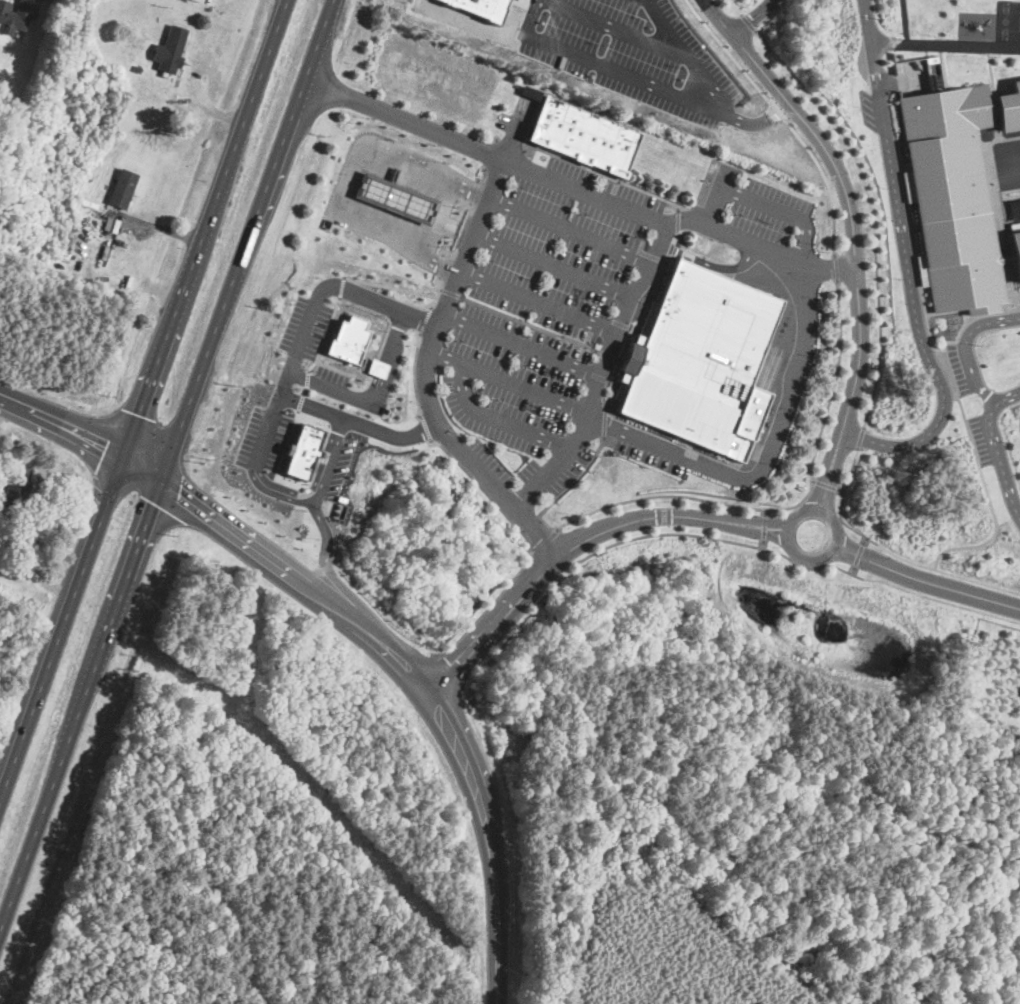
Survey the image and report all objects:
road: (737, 6)
building: (479, 8)
building: (13, 15)
road: (752, 18)
road: (748, 21)
road: (906, 21)
road: (616, 28)
road: (946, 43)
building: (171, 48)
road: (689, 58)
building: (138, 68)
road: (644, 78)
building: (167, 107)
road: (214, 107)
building: (1010, 107)
road: (787, 118)
building: (585, 134)
road: (496, 138)
road: (353, 172)
road: (602, 173)
building: (395, 174)
road: (486, 176)
building: (122, 187)
road: (475, 191)
building: (953, 194)
building: (397, 197)
gas station: (397, 197)
road: (768, 205)
road: (850, 207)
parking lot: (768, 210)
road: (870, 211)
road: (441, 217)
road: (678, 218)
road: (159, 227)
road: (466, 227)
road: (738, 237)
building: (1016, 251)
road: (554, 263)
road: (443, 264)
road: (825, 265)
road: (907, 265)
road: (837, 266)
building: (923, 270)
road: (341, 286)
road: (392, 286)
road: (451, 292)
road: (440, 293)
road: (310, 314)
road: (512, 316)
road: (640, 320)
road: (426, 321)
parking lot: (553, 326)
road: (324, 334)
building: (349, 339)
road: (432, 339)
road: (521, 345)
road: (591, 348)
road: (391, 358)
road: (967, 358)
building: (699, 359)
road: (332, 366)
building: (377, 367)
road: (601, 371)
road: (415, 374)
road: (949, 375)
road: (508, 378)
road: (307, 379)
road: (284, 383)
road: (143, 399)
traffic signals: (139, 412)
road: (497, 417)
road: (358, 422)
road: (603, 422)
road: (423, 428)
road: (84, 429)
road: (267, 432)
road: (862, 437)
traffic signals: (108, 439)
building: (303, 451)
road: (329, 459)
road: (999, 459)
road: (166, 464)
road: (816, 481)
building: (18, 483)
road: (828, 485)
road: (823, 486)
road: (309, 488)
road: (832, 488)
road: (843, 489)
traffic signals: (179, 492)
road: (282, 492)
traffic signals: (153, 502)
road: (730, 502)
road: (765, 511)
road: (812, 511)
road: (766, 522)
road: (765, 526)
road: (763, 531)
road: (717, 537)
road: (866, 539)
road: (543, 542)
road: (764, 543)
road: (324, 545)
road: (529, 547)
road: (860, 548)
road: (555, 551)
road: (893, 551)
road: (860, 553)
road: (857, 558)
road: (855, 569)
road: (49, 584)
road: (951, 586)
road: (446, 669)
road: (423, 685)

